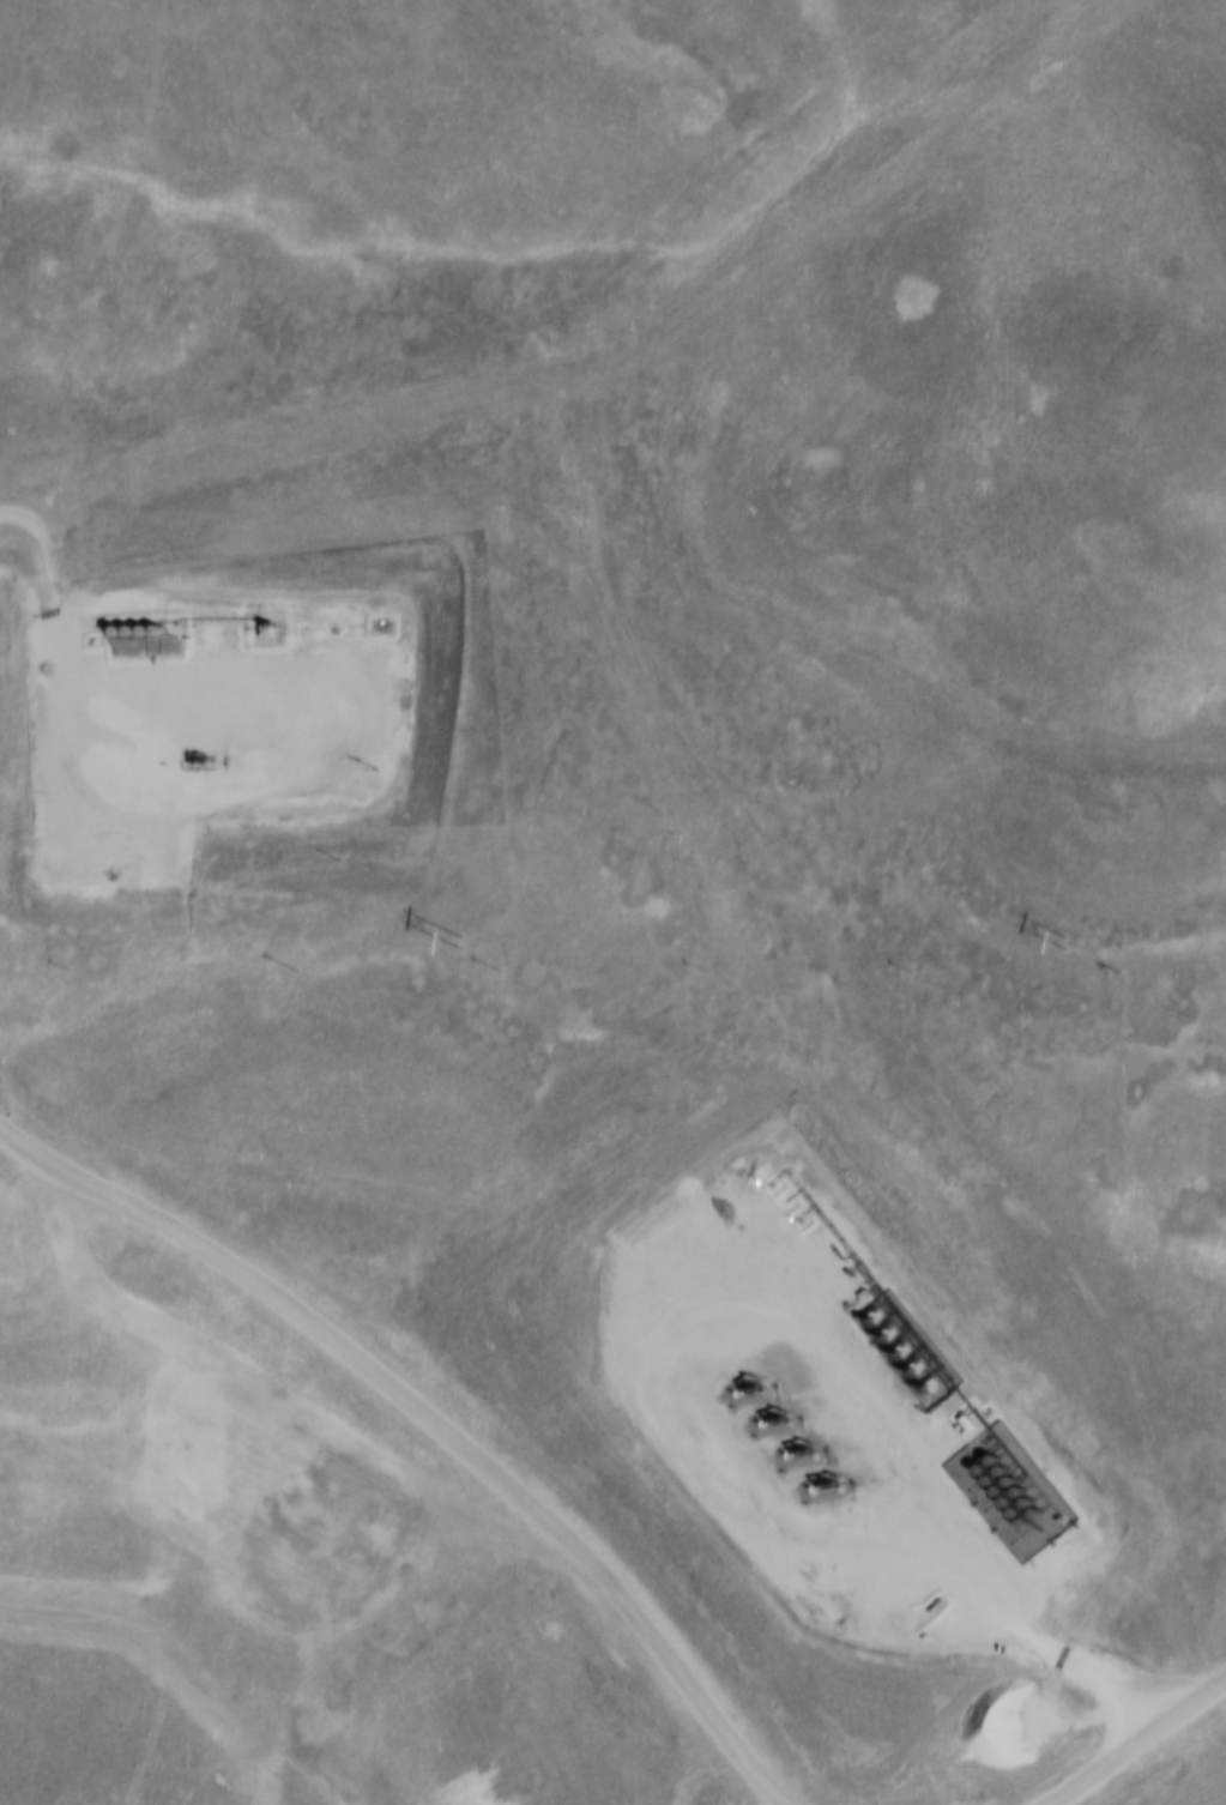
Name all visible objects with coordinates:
road: (593, 366)
quarry: (0, 861)
quarry: (901, 1738)

